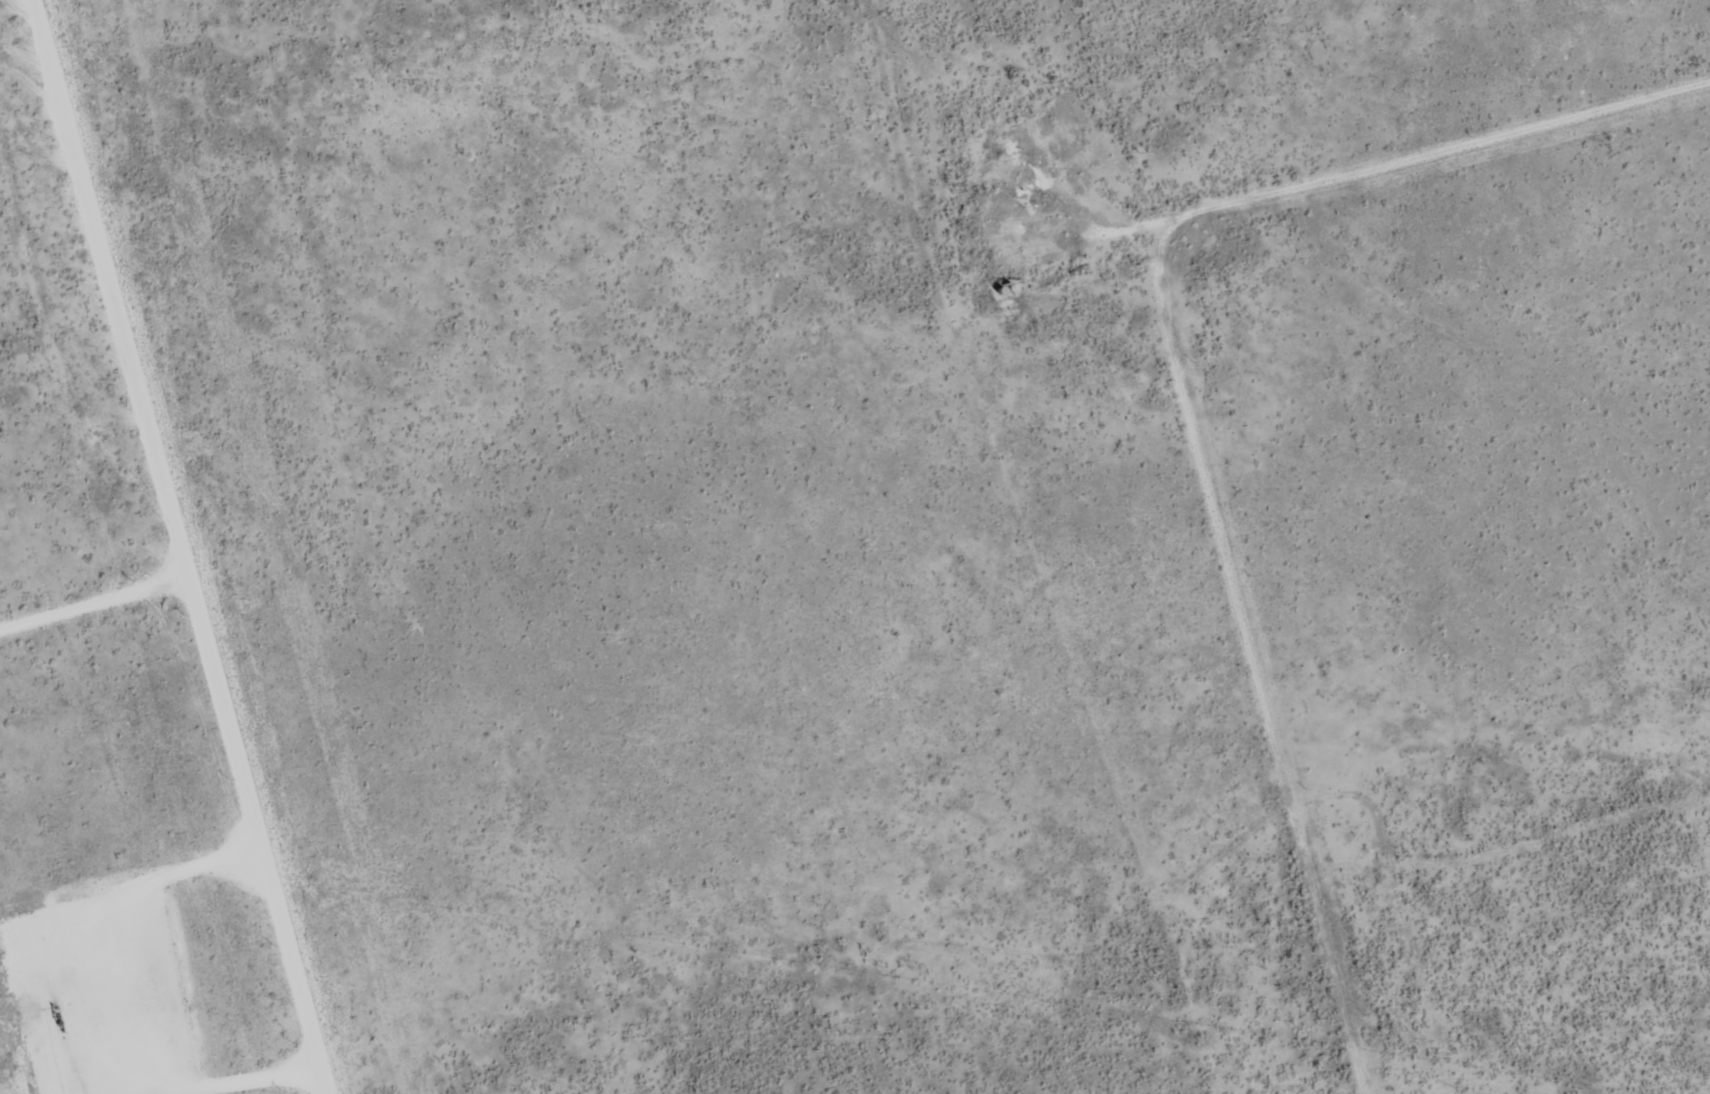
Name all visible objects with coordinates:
road: (1225, 430)
road: (216, 546)
road: (108, 579)

